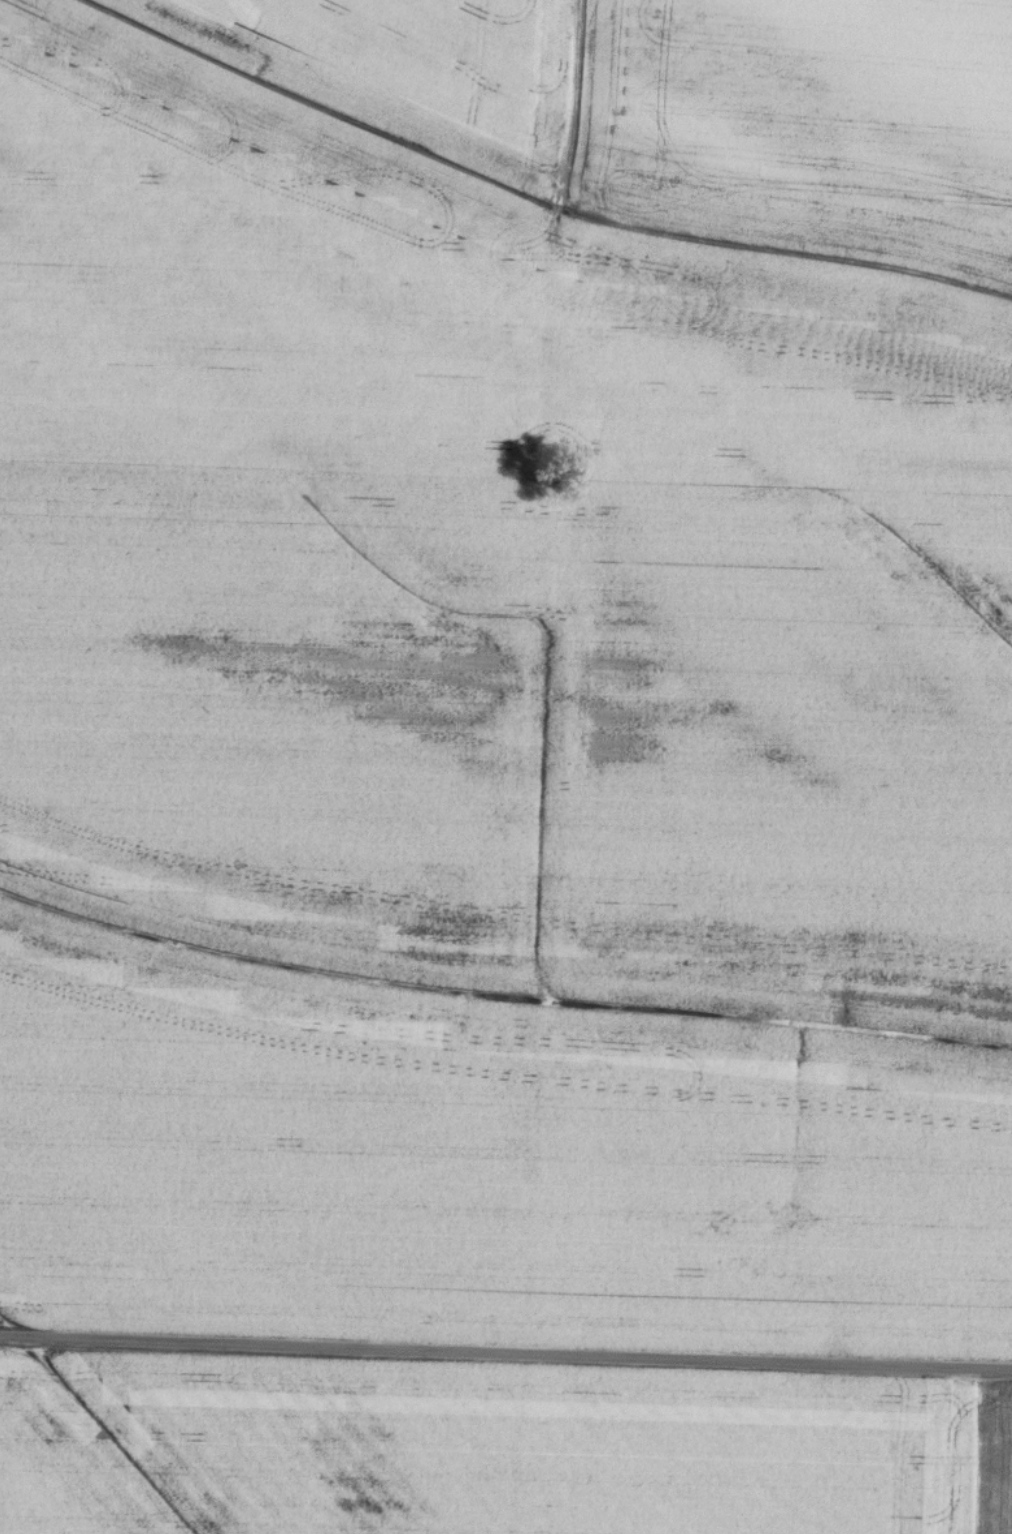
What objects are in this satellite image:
road: (505, 1347)

